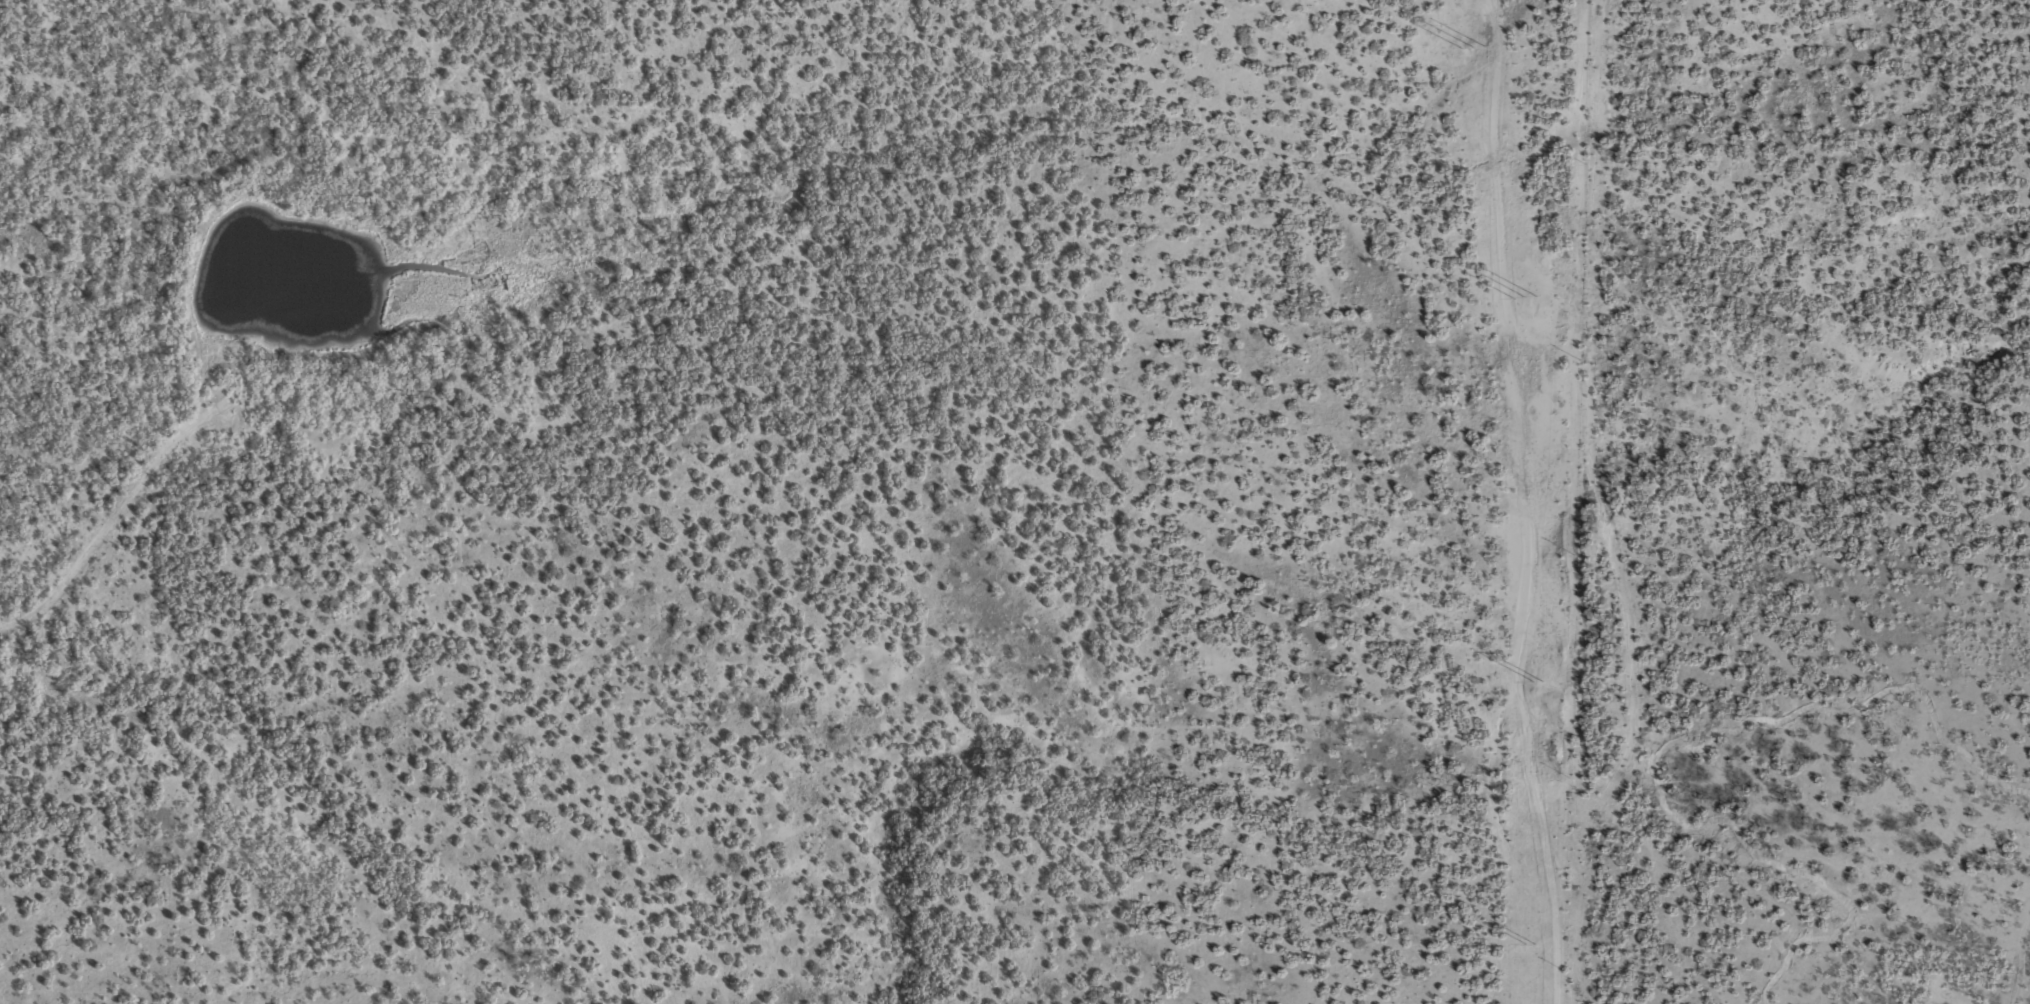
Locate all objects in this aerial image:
power tower: (1474, 47)
power tower: (1527, 297)
road: (82, 539)
power tower: (1538, 680)
power tower: (1531, 944)
road: (2022, 983)

